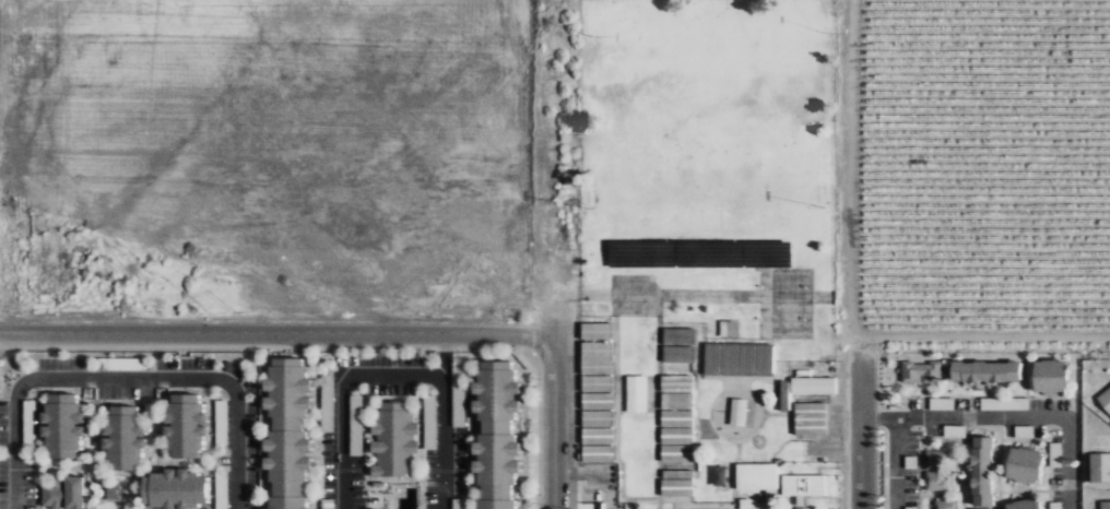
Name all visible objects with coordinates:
road: (846, 254)
road: (276, 329)
building: (727, 329)
building: (597, 331)
building: (678, 336)
building: (678, 354)
building: (597, 357)
building: (721, 357)
building: (755, 358)
building: (921, 371)
building: (984, 371)
building: (1047, 376)
road: (401, 379)
building: (597, 382)
road: (134, 383)
building: (676, 383)
building: (812, 386)
building: (458, 387)
building: (636, 393)
building: (1105, 399)
building: (597, 401)
building: (677, 401)
building: (737, 412)
building: (810, 419)
road: (554, 421)
road: (1007, 424)
building: (61, 425)
building: (184, 425)
building: (285, 435)
building: (494, 435)
building: (598, 436)
building: (676, 436)
building: (122, 437)
building: (392, 439)
building: (1022, 464)
road: (907, 466)
building: (1099, 466)
building: (935, 470)
building: (981, 471)
building: (757, 477)
building: (676, 483)
building: (802, 486)
building: (173, 489)
building: (113, 490)
building: (62, 494)
building: (943, 504)
building: (1020, 505)
building: (1105, 505)
building: (981, 508)

